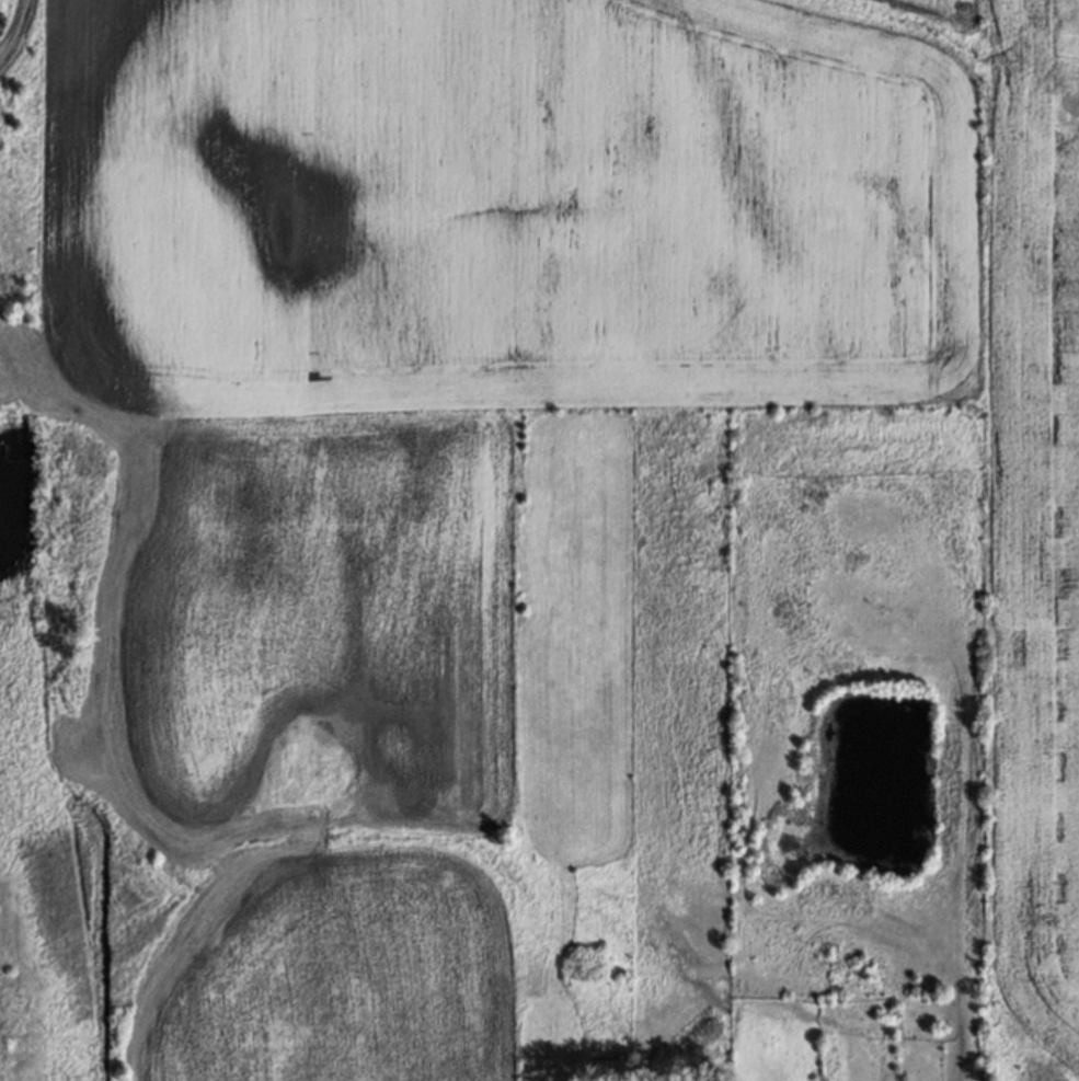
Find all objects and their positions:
building: (609, 1071)
building: (704, 1073)

